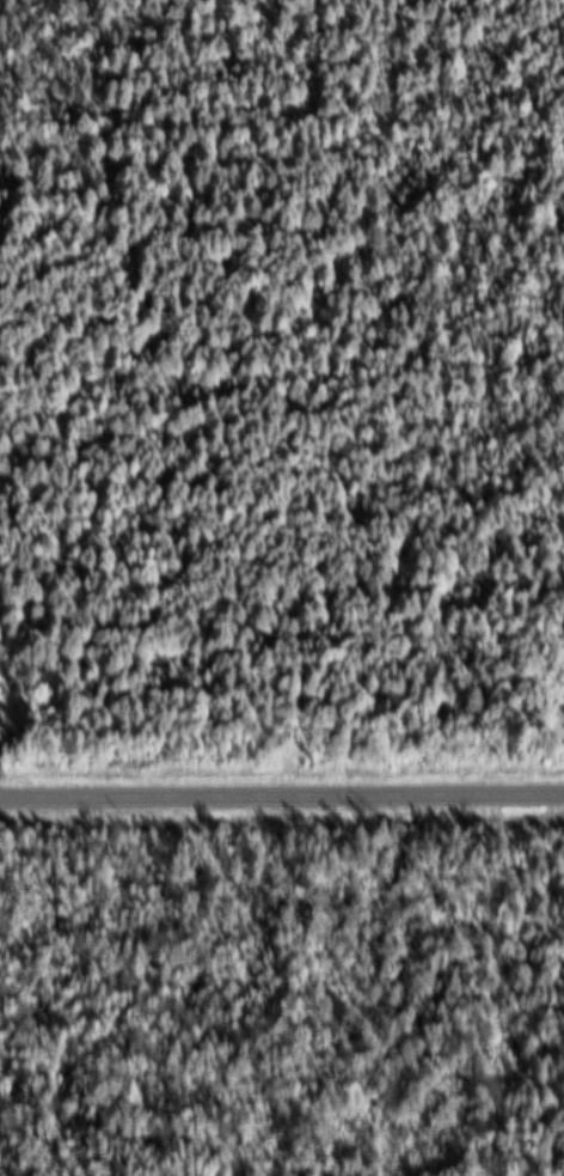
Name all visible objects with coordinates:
road: (133, 388)
road: (282, 781)

